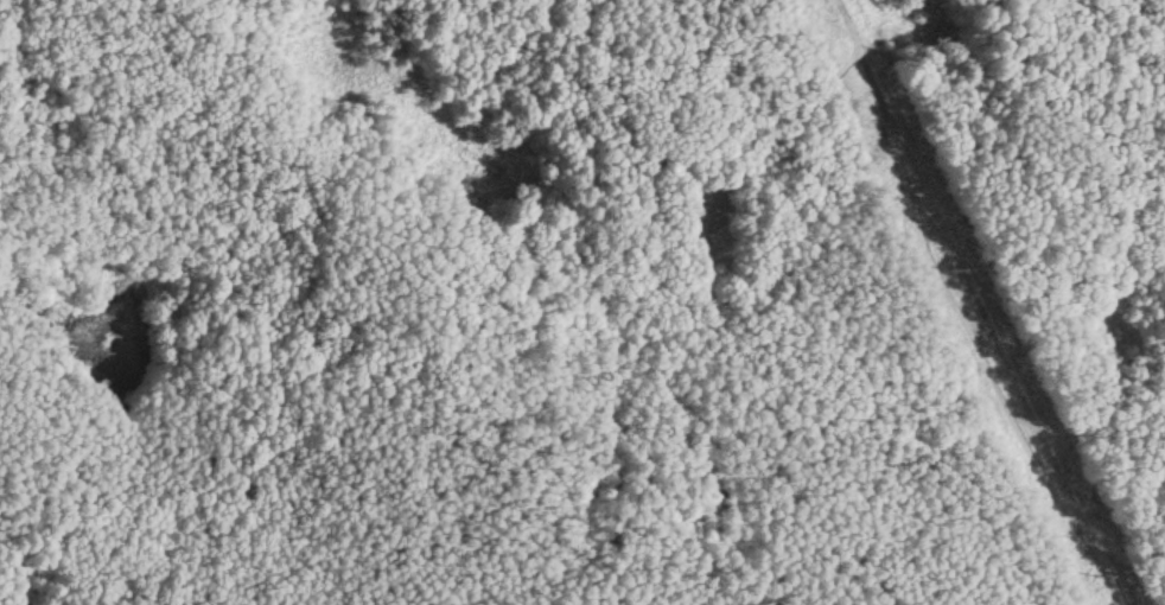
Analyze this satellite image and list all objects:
road: (123, 151)
road: (706, 278)
road: (967, 337)

